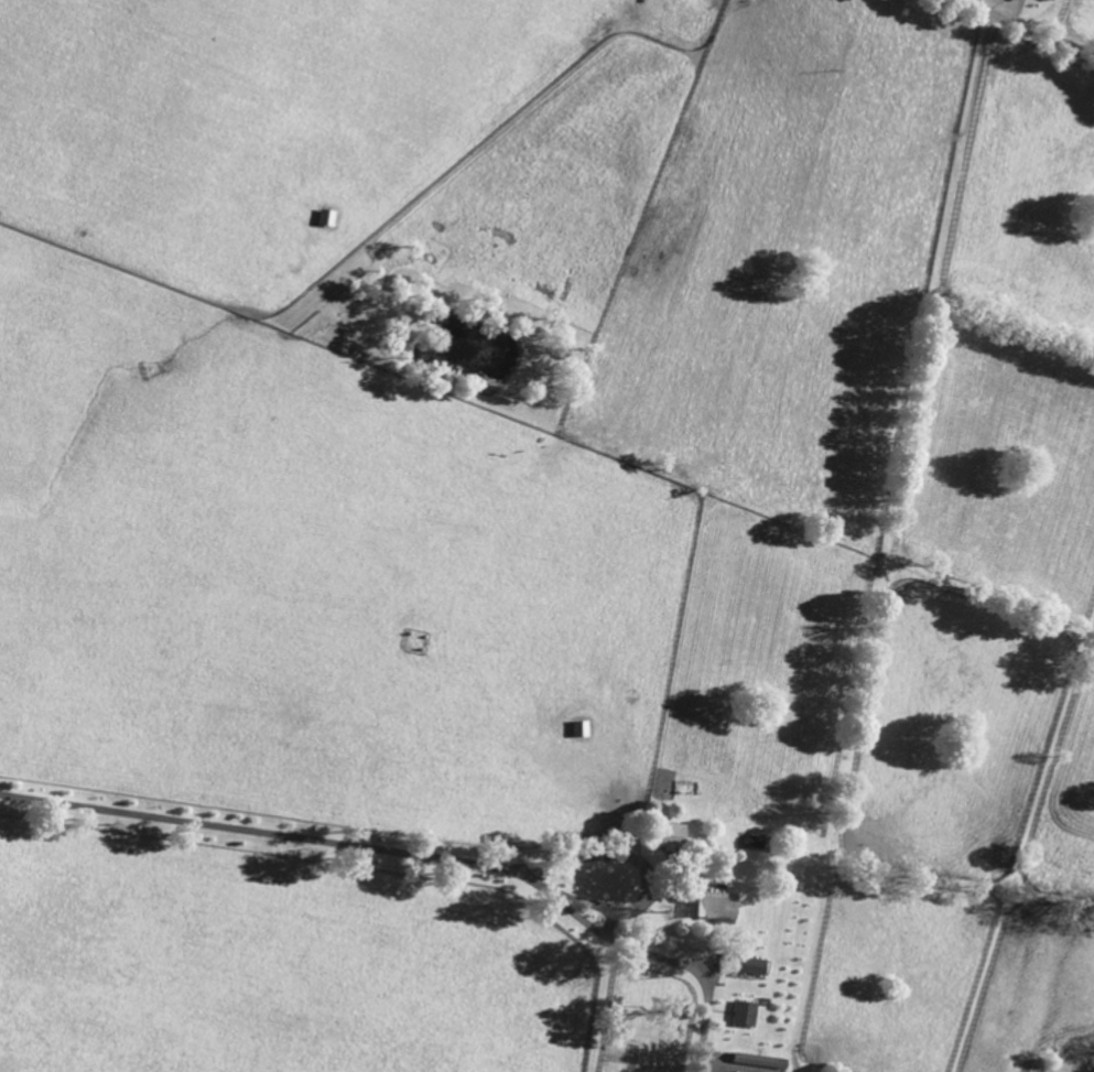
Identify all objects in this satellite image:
building: (1052, 0)
road: (1031, 28)
road: (262, 831)
building: (670, 835)
road: (641, 899)
road: (583, 900)
building: (710, 902)
building: (744, 964)
road: (698, 972)
building: (744, 1013)

